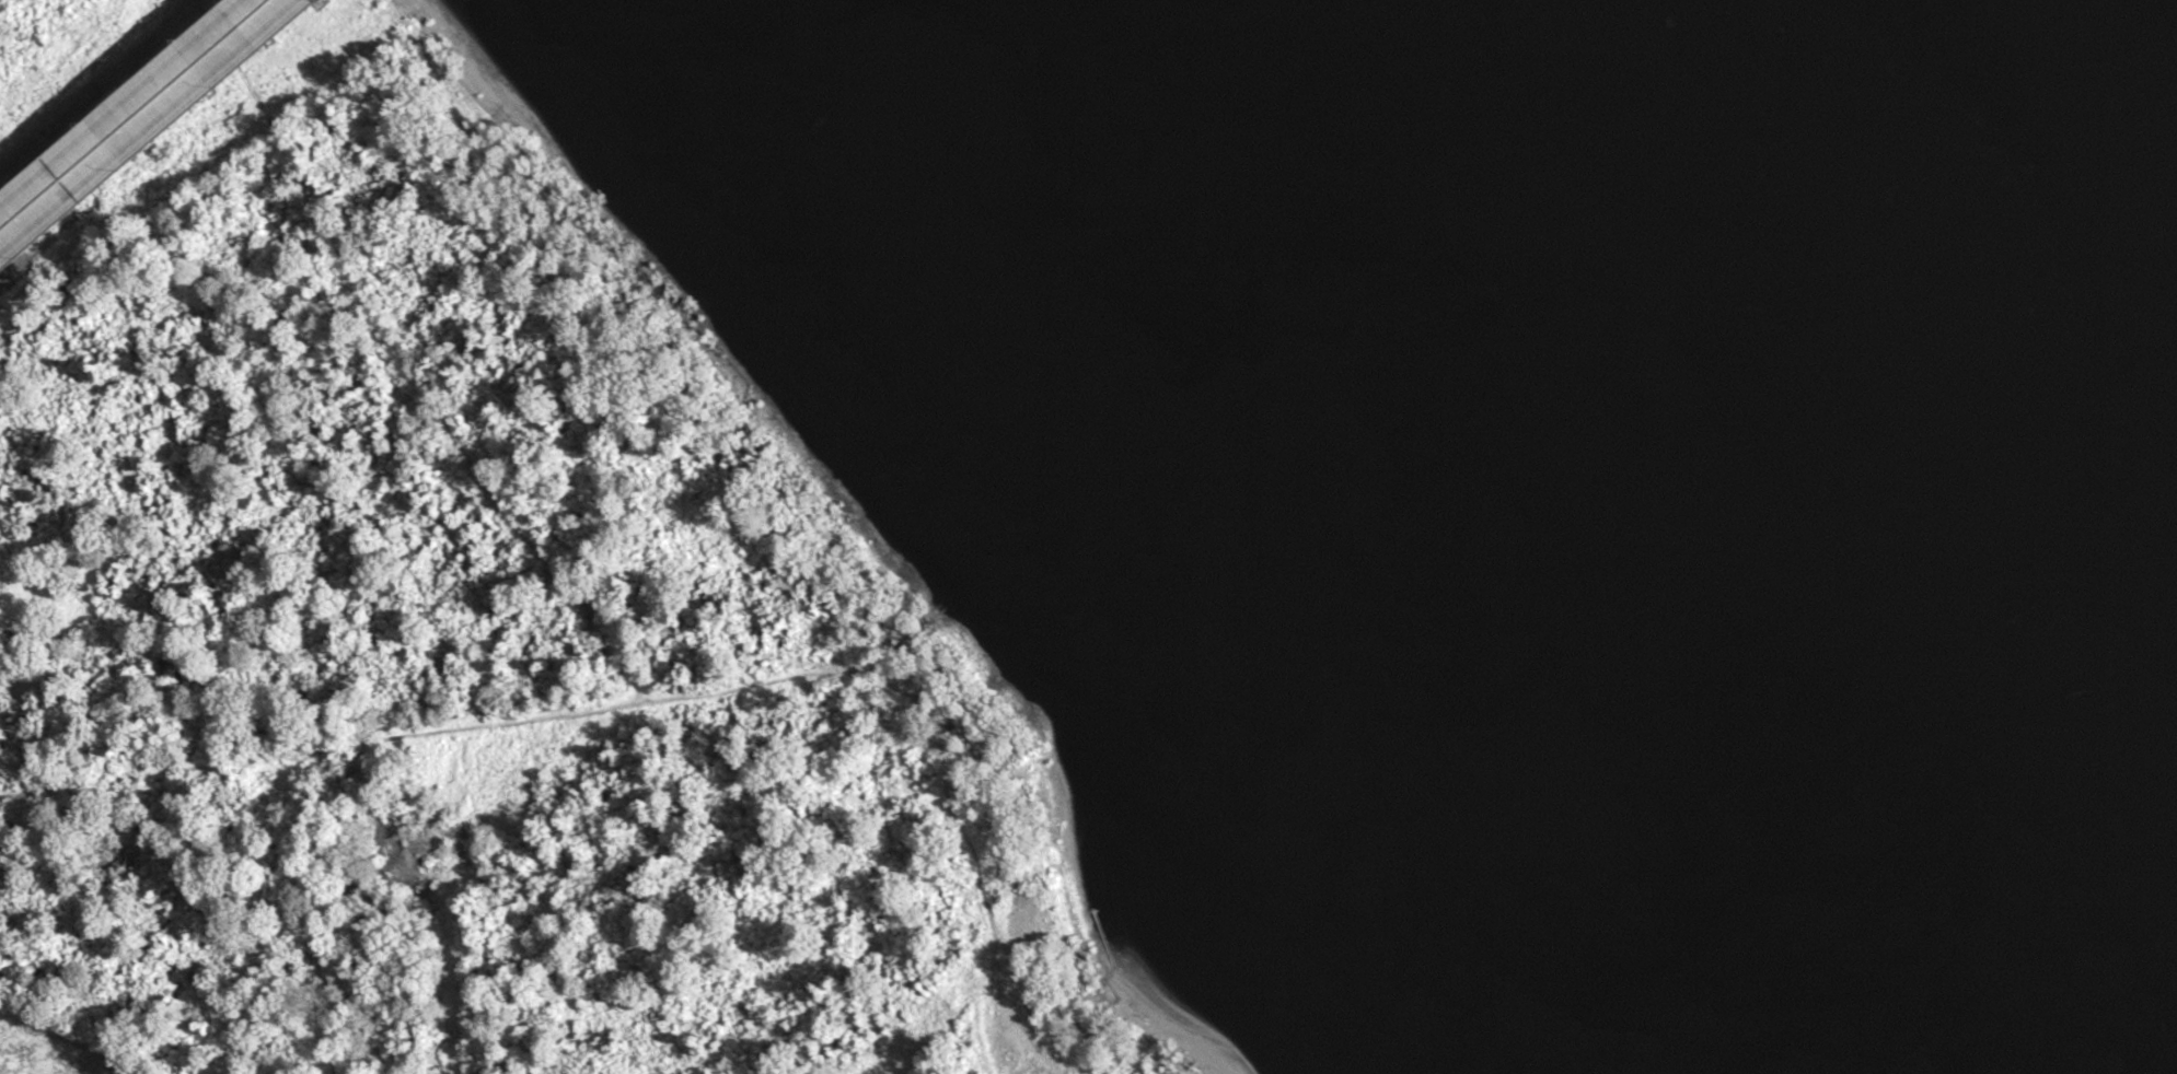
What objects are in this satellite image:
building: (225, 54)
road: (129, 112)
road: (152, 131)
building: (19, 247)
river: (1957, 249)
road: (418, 724)

